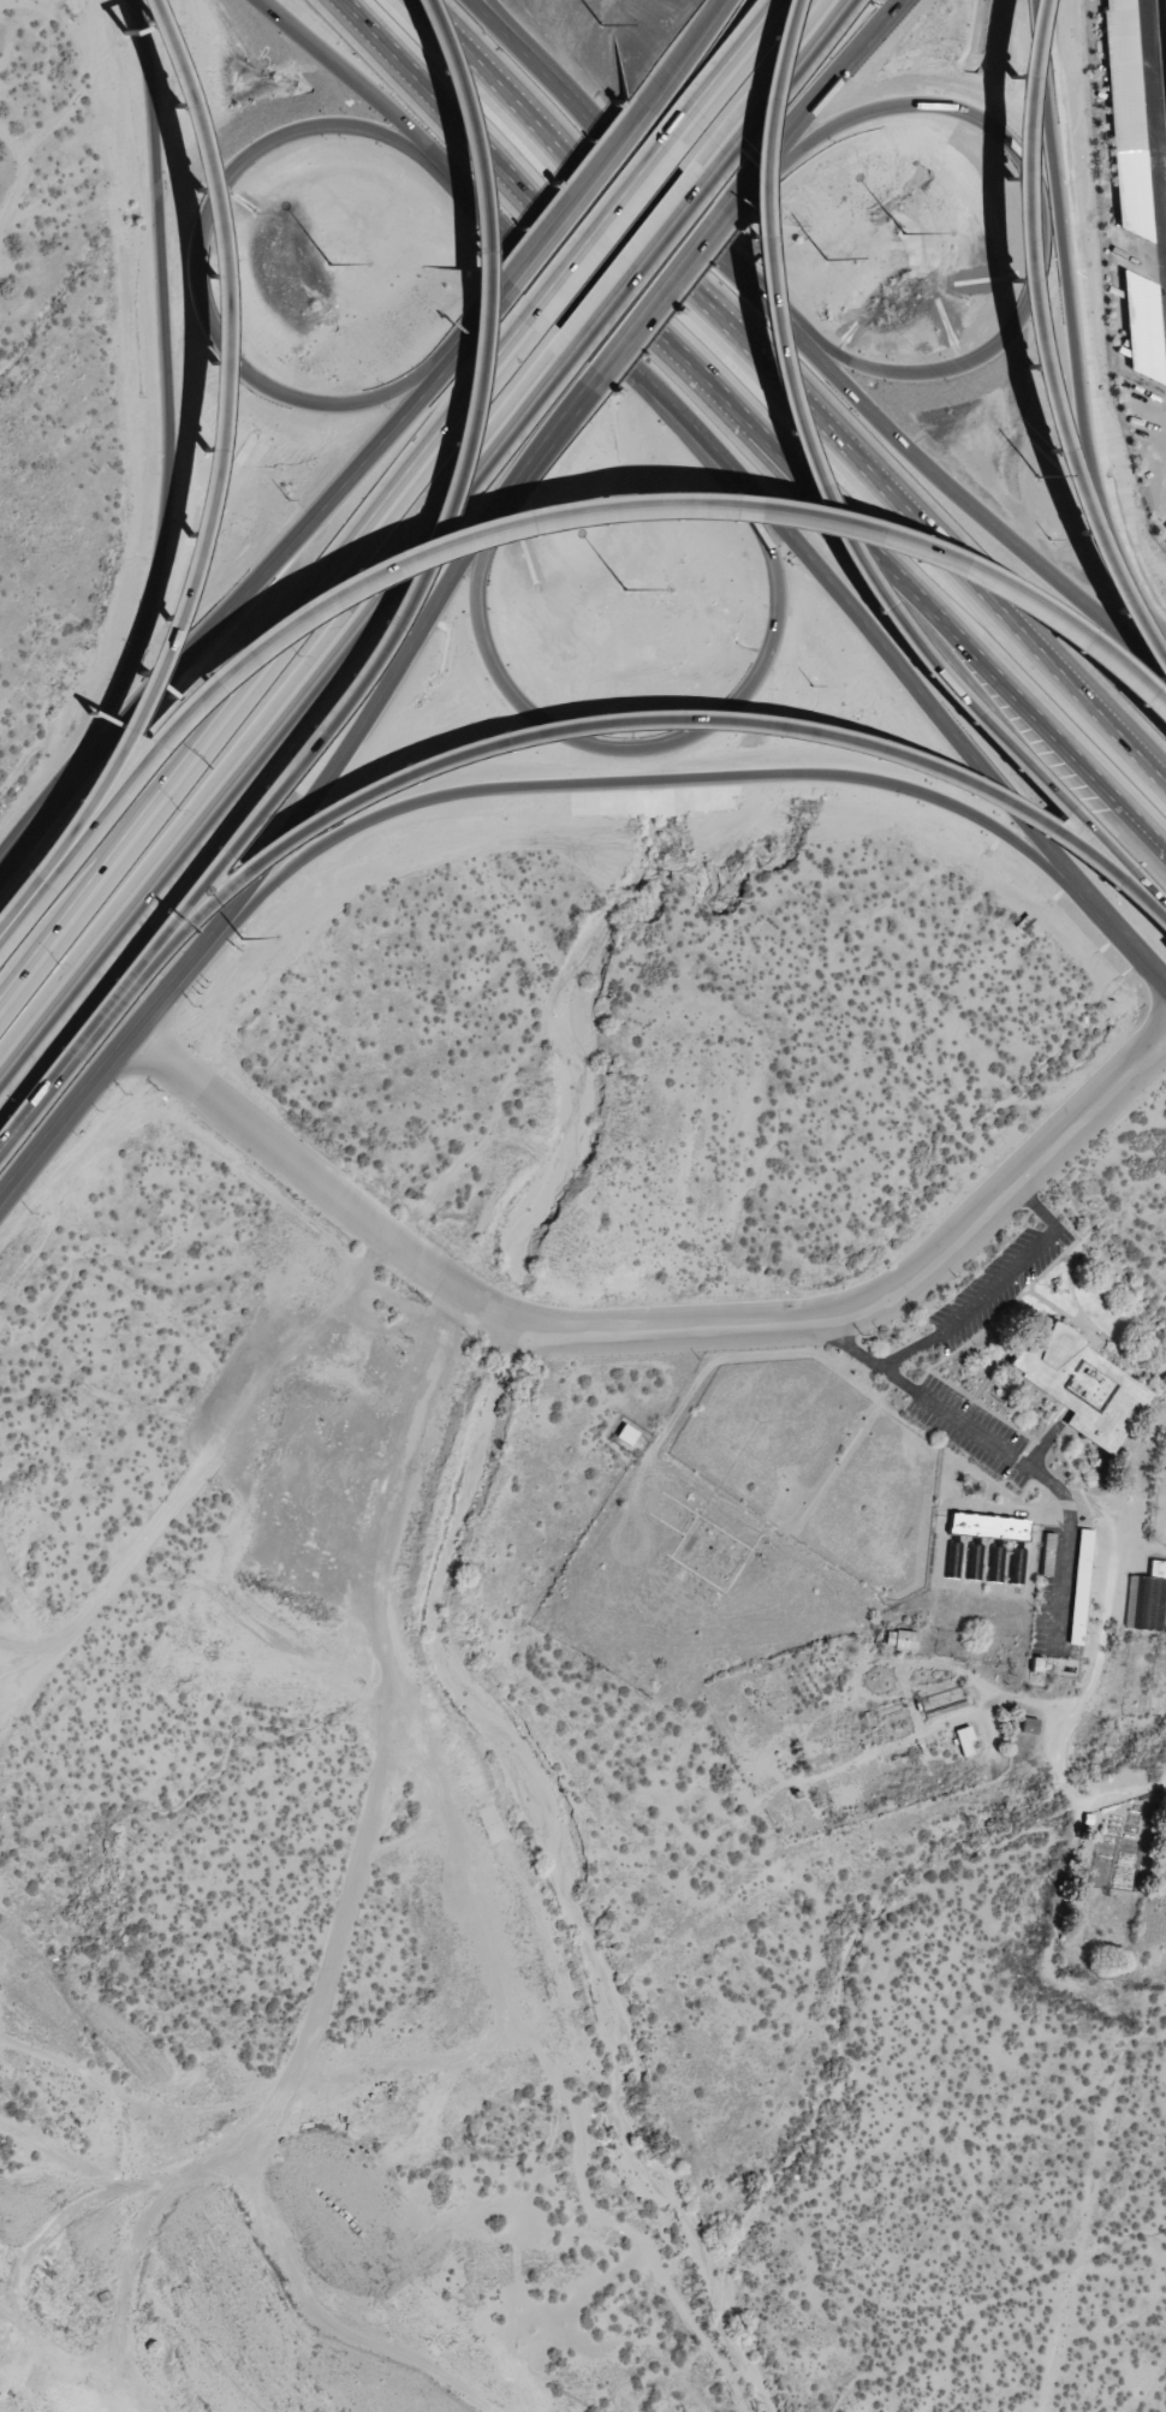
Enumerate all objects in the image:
building: (1165, 4)
road: (525, 43)
road: (683, 47)
road: (686, 47)
road: (716, 73)
road: (820, 93)
road: (772, 94)
road: (642, 106)
road: (553, 111)
building: (1125, 117)
road: (630, 165)
road: (731, 197)
road: (570, 200)
road: (1036, 206)
road: (596, 227)
road: (637, 267)
road: (194, 268)
road: (502, 290)
road: (658, 290)
building: (1141, 326)
road: (1071, 331)
road: (1023, 360)
road: (793, 388)
road: (553, 427)
road: (754, 428)
road: (169, 438)
road: (208, 459)
road: (734, 473)
road: (970, 503)
road: (530, 516)
road: (823, 517)
road: (441, 521)
building: (1165, 528)
road: (262, 576)
road: (267, 652)
road: (286, 713)
road: (365, 713)
road: (647, 718)
road: (697, 727)
road: (1035, 761)
road: (661, 779)
road: (7, 849)
road: (75, 880)
road: (72, 1051)
road: (102, 1065)
road: (1036, 1206)
road: (993, 1285)
road: (653, 1329)
road: (876, 1361)
building: (1089, 1389)
building: (626, 1434)
building: (988, 1526)
building: (1047, 1555)
building: (1079, 1586)
building: (1147, 1598)
building: (900, 1639)
building: (964, 1740)

